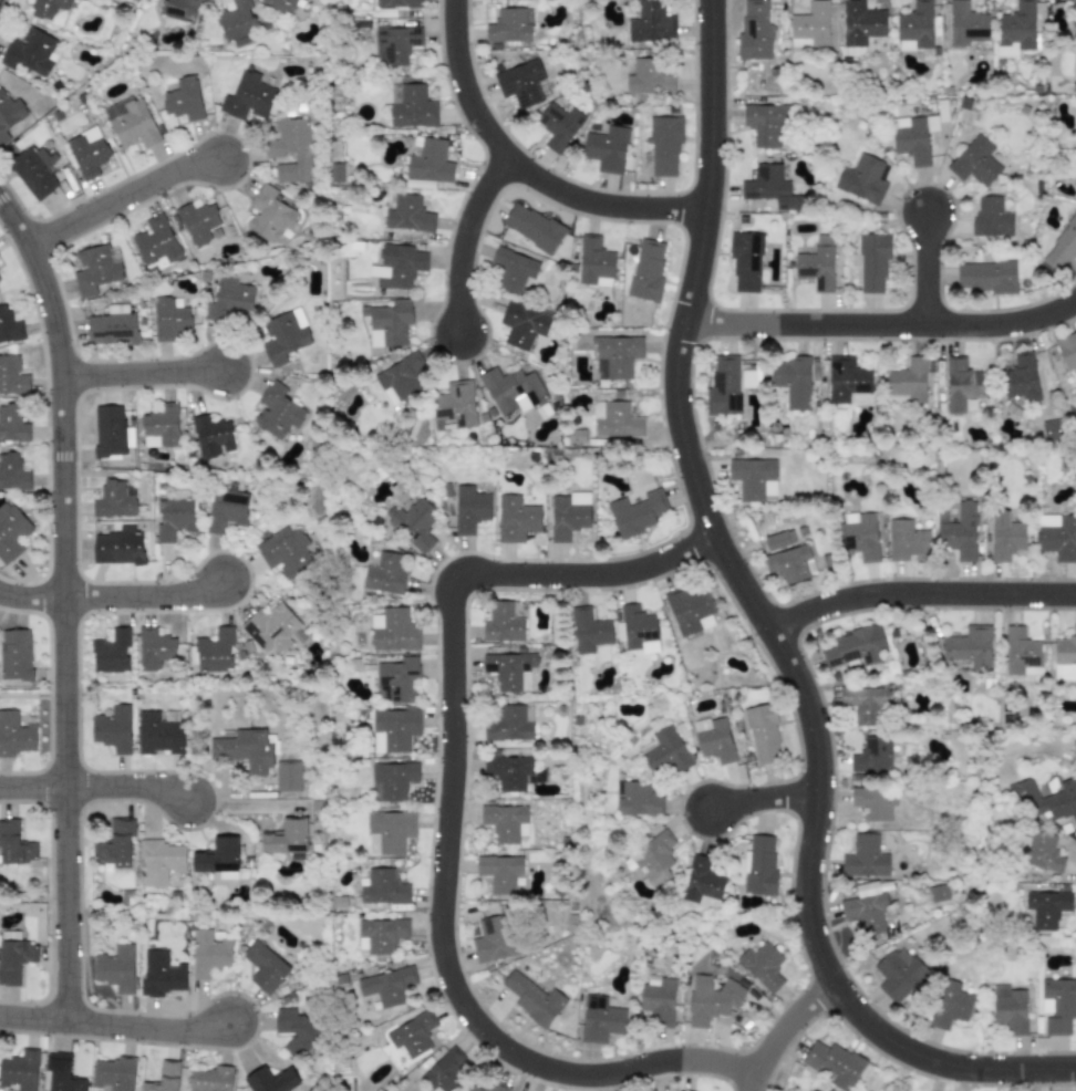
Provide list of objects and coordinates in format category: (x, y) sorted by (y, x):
building: (282, 4)
building: (46, 8)
building: (180, 9)
building: (1074, 12)
building: (237, 19)
building: (651, 23)
building: (860, 23)
building: (965, 23)
building: (508, 25)
building: (810, 25)
building: (1017, 25)
building: (915, 27)
building: (754, 30)
building: (395, 44)
building: (30, 52)
building: (648, 76)
building: (520, 82)
building: (247, 97)
building: (183, 98)
building: (412, 106)
building: (9, 114)
building: (131, 123)
building: (764, 124)
building: (558, 125)
building: (910, 138)
building: (664, 144)
building: (606, 148)
building: (290, 149)
building: (87, 152)
building: (430, 160)
building: (974, 162)
road: (523, 168)
building: (33, 172)
building: (862, 179)
building: (418, 184)
building: (769, 187)
road: (120, 197)
building: (407, 214)
building: (270, 215)
building: (991, 217)
building: (197, 221)
building: (532, 227)
road: (463, 239)
building: (155, 242)
building: (1062, 247)
building: (745, 261)
building: (594, 262)
building: (871, 262)
building: (817, 263)
building: (397, 266)
building: (514, 269)
road: (924, 269)
building: (94, 270)
building: (646, 270)
building: (986, 276)
building: (169, 319)
building: (387, 323)
road: (881, 324)
building: (113, 325)
building: (523, 325)
building: (9, 326)
building: (284, 336)
building: (1067, 351)
building: (614, 356)
road: (141, 373)
building: (12, 376)
building: (400, 377)
building: (908, 380)
building: (1021, 380)
building: (793, 381)
building: (848, 382)
building: (961, 384)
building: (723, 386)
building: (511, 389)
building: (455, 404)
building: (1073, 409)
building: (278, 411)
building: (615, 419)
building: (12, 425)
building: (161, 426)
building: (108, 430)
building: (1049, 430)
building: (211, 437)
building: (12, 472)
building: (753, 478)
building: (114, 500)
building: (469, 509)
building: (226, 510)
building: (637, 512)
building: (568, 515)
building: (173, 518)
building: (516, 519)
building: (415, 523)
building: (960, 531)
building: (11, 532)
building: (860, 534)
building: (1005, 536)
building: (1057, 536)
building: (778, 540)
building: (907, 540)
building: (117, 547)
building: (286, 551)
building: (788, 563)
building: (385, 573)
road: (918, 593)
road: (142, 596)
road: (30, 598)
road: (62, 606)
building: (689, 610)
building: (503, 623)
road: (764, 625)
building: (273, 630)
building: (589, 630)
building: (638, 630)
building: (393, 631)
building: (853, 646)
building: (970, 646)
building: (154, 648)
building: (215, 651)
building: (111, 652)
building: (1021, 653)
building: (15, 654)
building: (1065, 657)
building: (396, 679)
building: (863, 704)
building: (508, 724)
building: (113, 728)
building: (394, 729)
building: (158, 734)
building: (763, 734)
building: (15, 735)
building: (713, 739)
building: (244, 749)
building: (663, 751)
building: (871, 755)
building: (509, 771)
building: (288, 776)
building: (392, 780)
road: (94, 787)
road: (762, 798)
building: (637, 799)
building: (1045, 800)
building: (875, 802)
road: (245, 806)
road: (447, 815)
building: (505, 822)
building: (390, 831)
building: (286, 838)
building: (14, 844)
building: (115, 844)
building: (1043, 852)
building: (218, 858)
building: (865, 858)
building: (653, 859)
building: (159, 861)
building: (759, 865)
building: (499, 872)
building: (702, 883)
building: (383, 887)
building: (1046, 907)
building: (865, 908)
building: (380, 935)
building: (490, 939)
building: (208, 953)
building: (13, 956)
building: (265, 966)
building: (764, 966)
building: (115, 968)
building: (161, 974)
building: (898, 974)
building: (386, 986)
building: (532, 998)
building: (658, 999)
building: (711, 999)
building: (950, 1005)
building: (1057, 1005)
building: (1008, 1008)
building: (600, 1019)
road: (114, 1026)
building: (294, 1028)
road: (780, 1029)
building: (412, 1035)
building: (834, 1063)
building: (20, 1070)
building: (446, 1071)
building: (62, 1073)
building: (114, 1073)
building: (209, 1079)
building: (271, 1080)
building: (496, 1087)
building: (475, 1088)

